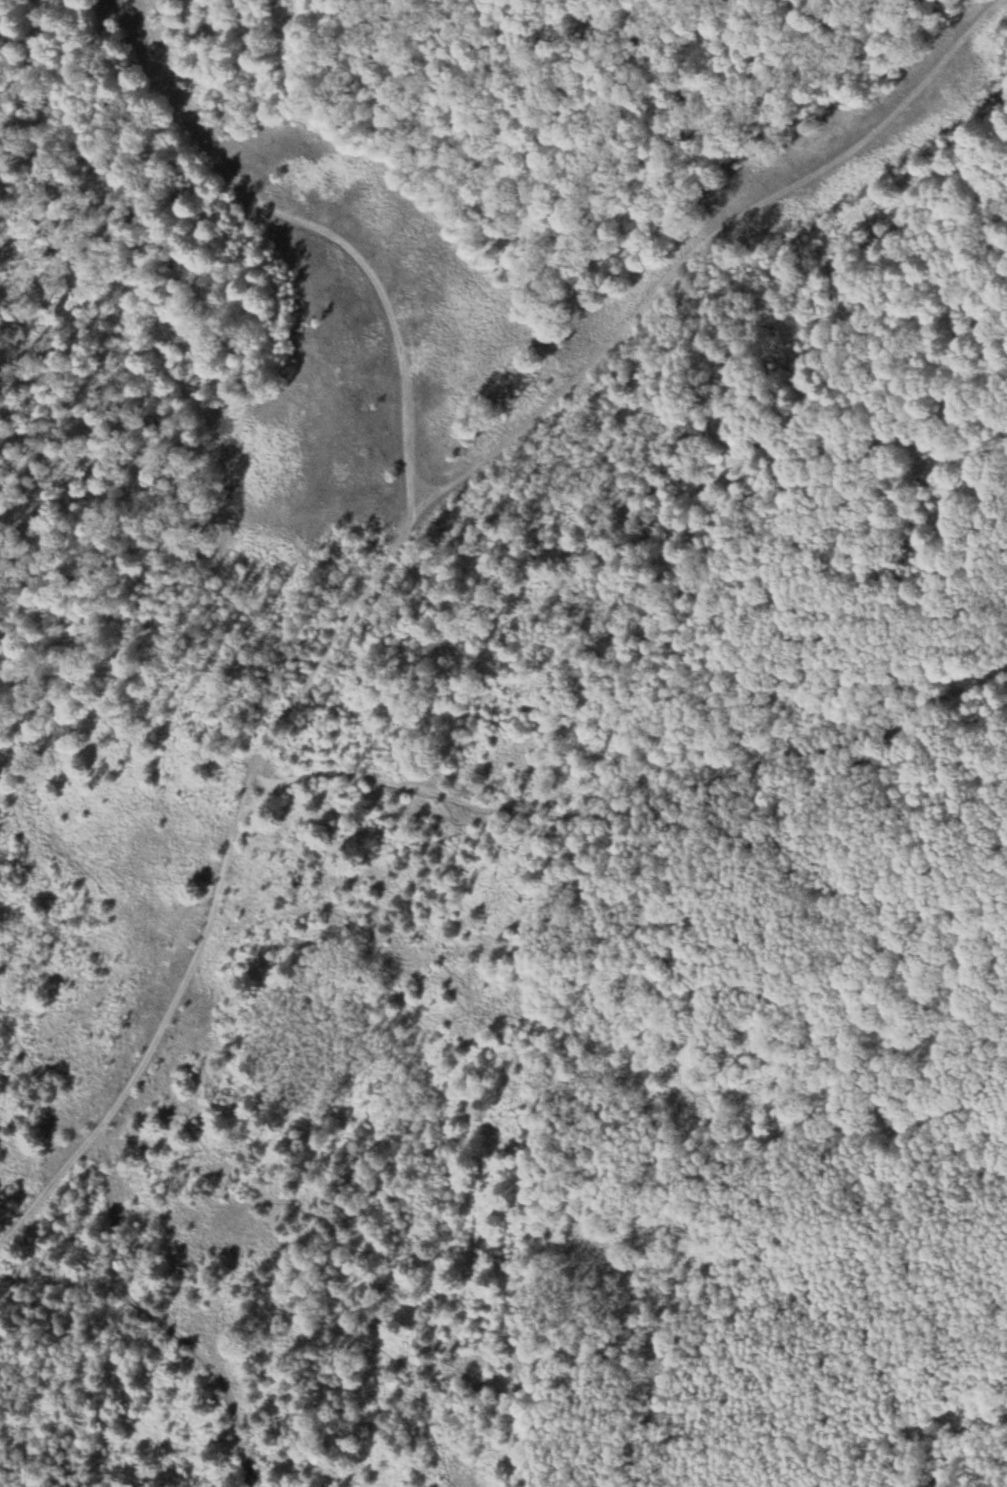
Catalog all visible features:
road: (406, 384)
road: (554, 753)
road: (265, 779)
road: (458, 800)
road: (113, 1182)
road: (232, 1422)

